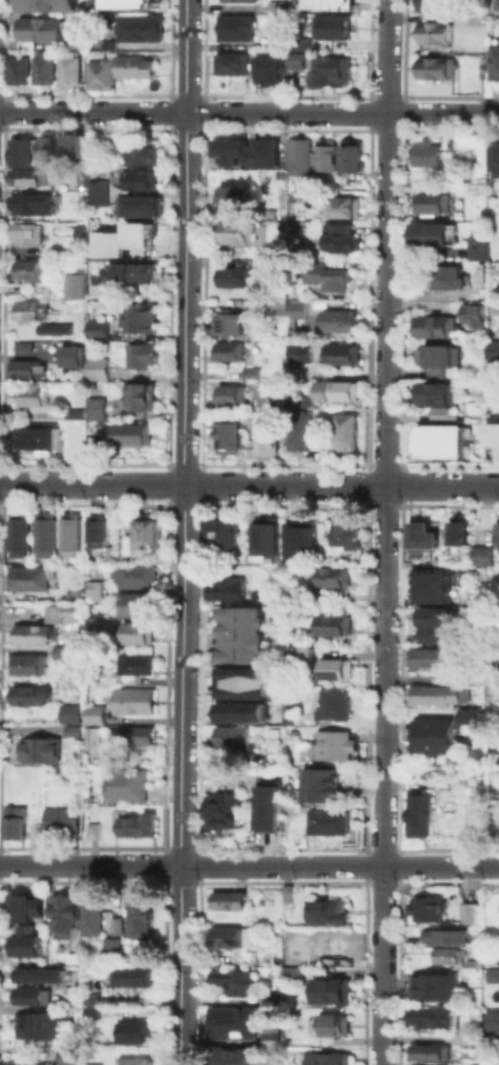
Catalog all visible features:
building: (236, 0)
building: (323, 0)
building: (124, 3)
building: (496, 3)
building: (46, 4)
building: (436, 4)
building: (275, 6)
building: (137, 26)
building: (235, 26)
building: (328, 26)
building: (37, 28)
building: (433, 32)
building: (300, 43)
building: (275, 45)
building: (296, 61)
building: (492, 61)
building: (231, 62)
building: (42, 66)
building: (68, 67)
building: (434, 68)
building: (16, 69)
building: (115, 69)
building: (269, 69)
building: (331, 70)
road: (248, 112)
building: (74, 144)
building: (48, 147)
building: (242, 149)
building: (93, 152)
building: (136, 152)
building: (424, 153)
building: (325, 155)
building: (492, 155)
building: (299, 156)
building: (352, 156)
building: (22, 162)
building: (132, 177)
building: (96, 188)
building: (232, 193)
building: (348, 200)
building: (138, 201)
building: (30, 202)
building: (432, 202)
building: (26, 232)
building: (234, 232)
building: (432, 232)
building: (337, 235)
building: (122, 238)
building: (476, 246)
building: (498, 255)
building: (492, 266)
building: (27, 270)
building: (132, 272)
building: (478, 272)
building: (322, 274)
building: (232, 275)
building: (448, 276)
building: (74, 281)
building: (494, 307)
building: (27, 308)
building: (296, 309)
building: (469, 315)
building: (137, 316)
building: (334, 320)
building: (226, 323)
building: (289, 323)
building: (430, 326)
building: (53, 328)
building: (97, 328)
building: (289, 333)
building: (23, 345)
building: (228, 350)
building: (491, 350)
building: (297, 351)
building: (339, 353)
building: (70, 354)
building: (140, 354)
building: (436, 355)
building: (477, 363)
building: (96, 366)
building: (24, 369)
building: (297, 370)
building: (248, 372)
building: (341, 389)
building: (430, 391)
building: (137, 393)
building: (230, 393)
building: (33, 395)
building: (301, 400)
building: (95, 407)
building: (440, 411)
building: (73, 413)
building: (299, 429)
building: (344, 431)
building: (130, 432)
building: (266, 436)
building: (36, 437)
building: (226, 437)
building: (492, 438)
building: (437, 441)
road: (248, 484)
building: (145, 530)
building: (220, 530)
building: (345, 530)
building: (93, 531)
road: (180, 531)
building: (69, 532)
road: (384, 532)
building: (455, 532)
building: (497, 532)
building: (19, 534)
building: (44, 534)
building: (300, 534)
building: (265, 537)
building: (418, 537)
building: (483, 555)
building: (431, 572)
building: (135, 574)
building: (331, 575)
building: (27, 577)
building: (91, 588)
building: (224, 589)
building: (431, 590)
building: (313, 595)
building: (135, 603)
building: (60, 612)
building: (434, 623)
building: (330, 624)
building: (135, 632)
building: (31, 633)
building: (239, 634)
building: (59, 650)
building: (293, 651)
building: (428, 656)
building: (26, 663)
building: (134, 663)
building: (332, 667)
building: (242, 681)
building: (491, 692)
building: (31, 693)
building: (434, 693)
building: (133, 699)
building: (332, 701)
building: (69, 707)
building: (92, 709)
building: (239, 711)
building: (467, 711)
building: (70, 731)
building: (230, 734)
building: (430, 734)
building: (133, 735)
building: (90, 737)
building: (331, 740)
building: (37, 749)
building: (124, 783)
building: (318, 784)
building: (266, 804)
building: (217, 810)
building: (418, 817)
building: (60, 820)
building: (328, 820)
building: (14, 821)
building: (137, 823)
building: (91, 830)
road: (248, 865)
building: (226, 899)
building: (22, 907)
building: (425, 907)
building: (328, 911)
building: (465, 911)
building: (62, 914)
building: (138, 915)
building: (89, 918)
building: (114, 925)
building: (444, 935)
building: (230, 936)
building: (24, 942)
building: (331, 944)
building: (109, 945)
building: (248, 952)
building: (447, 955)
building: (288, 959)
building: (43, 973)
building: (125, 973)
building: (289, 973)
building: (492, 975)
building: (229, 978)
building: (432, 985)
building: (331, 990)
building: (31, 996)
building: (269, 996)
building: (89, 1006)
building: (424, 1017)
building: (230, 1021)
building: (491, 1021)
building: (37, 1024)
building: (332, 1024)
building: (469, 1028)
building: (131, 1032)
building: (268, 1037)
building: (424, 1053)
building: (67, 1055)
building: (232, 1057)
building: (488, 1057)
building: (326, 1058)
building: (132, 1062)
building: (25, 1063)
building: (89, 1063)
building: (426, 1064)

